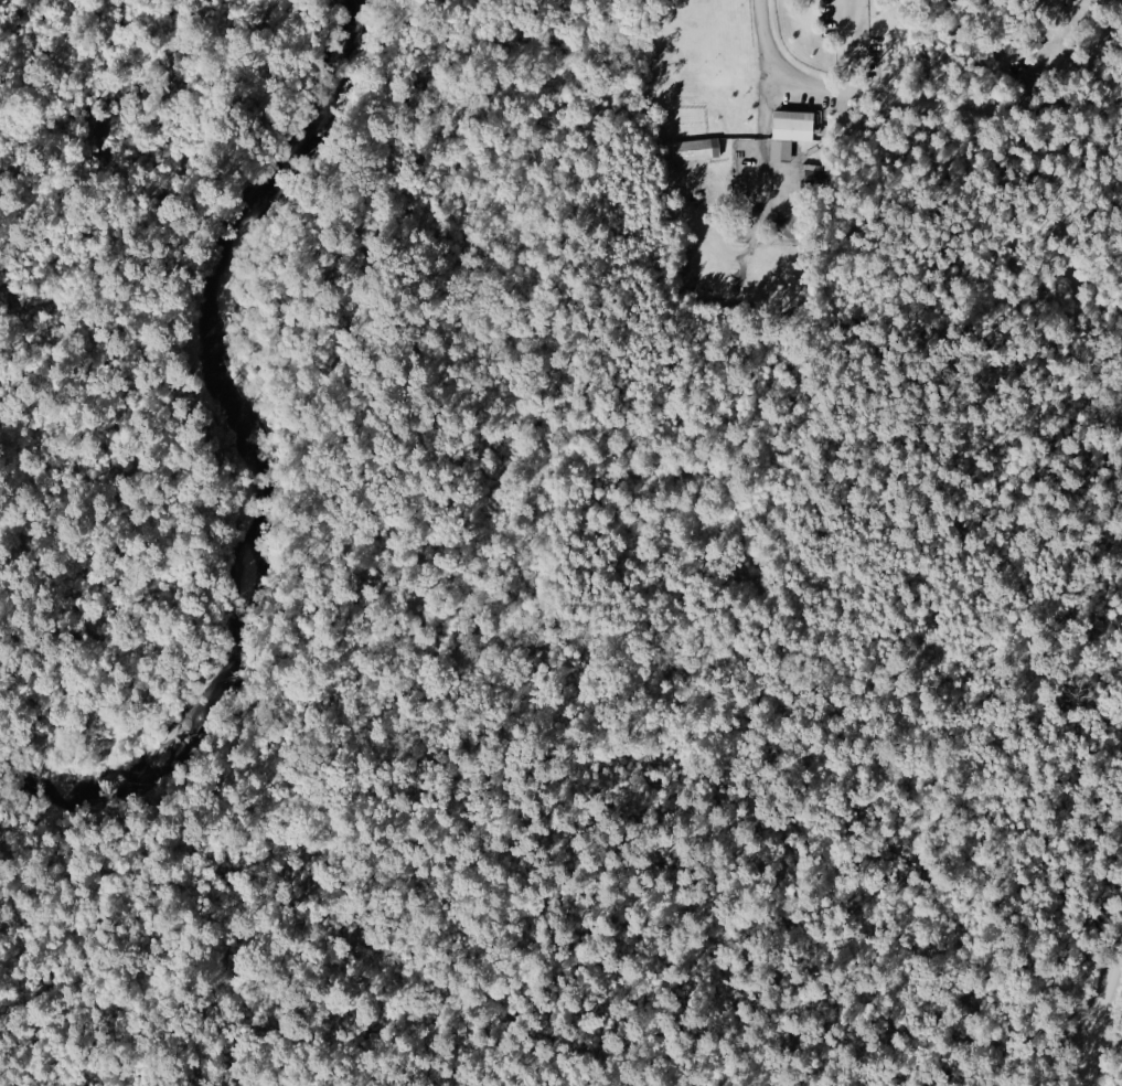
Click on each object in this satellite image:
road: (853, 50)
road: (771, 55)
road: (968, 115)
building: (791, 127)
building: (693, 150)
road: (224, 191)
river: (259, 425)
road: (1102, 1015)
road: (133, 1054)
road: (528, 1065)

